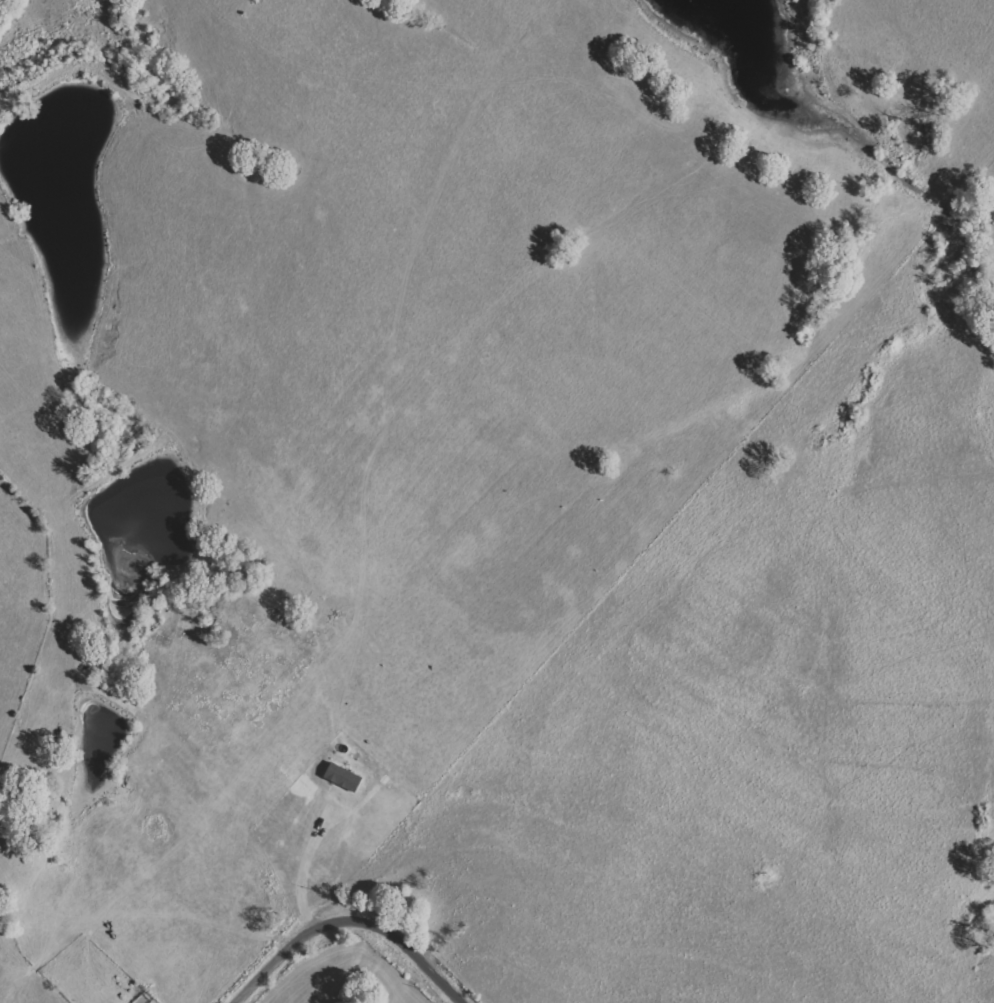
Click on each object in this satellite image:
building: (342, 777)
road: (376, 973)

